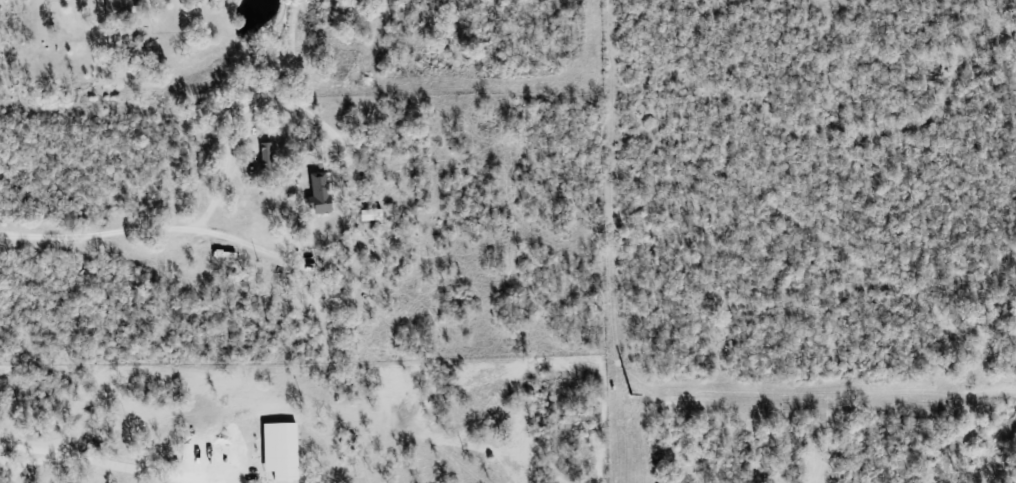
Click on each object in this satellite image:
road: (86, 1)
building: (118, 9)
building: (265, 154)
building: (318, 193)
building: (370, 214)
road: (139, 237)
power tower: (630, 395)
building: (279, 451)
road: (78, 463)

